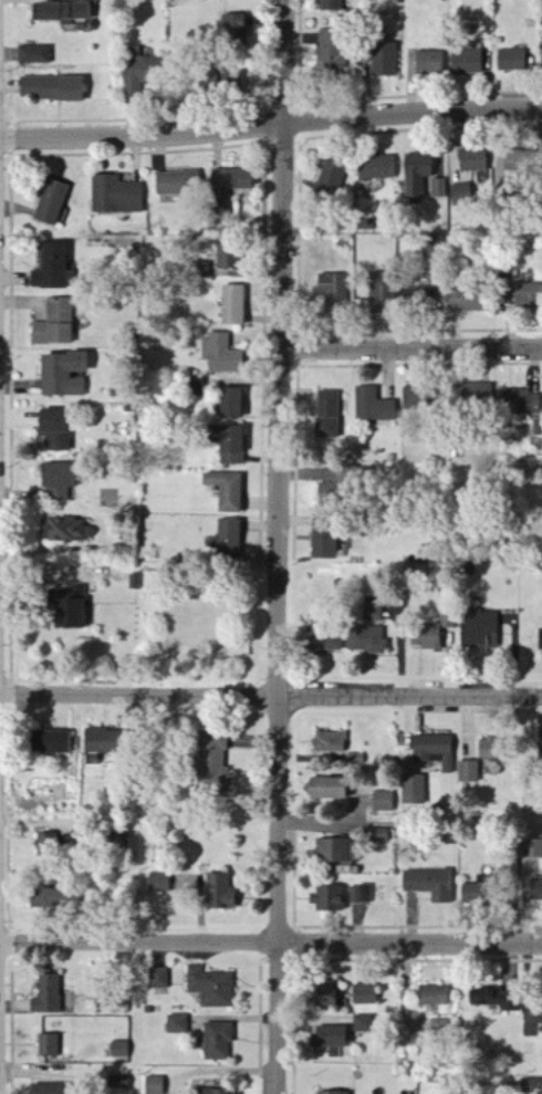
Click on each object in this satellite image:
building: (330, 6)
building: (63, 12)
building: (232, 29)
building: (330, 51)
building: (35, 55)
building: (383, 60)
building: (512, 61)
building: (466, 63)
building: (429, 64)
building: (138, 73)
building: (231, 81)
building: (206, 83)
building: (51, 90)
road: (271, 128)
building: (473, 160)
building: (519, 162)
building: (376, 169)
building: (417, 175)
building: (330, 180)
building: (177, 184)
building: (228, 185)
building: (438, 189)
building: (460, 194)
building: (116, 197)
building: (51, 202)
building: (226, 257)
building: (50, 268)
building: (533, 288)
building: (332, 289)
building: (379, 290)
building: (424, 296)
building: (470, 300)
building: (232, 304)
building: (54, 323)
road: (413, 351)
building: (221, 353)
building: (61, 374)
building: (478, 395)
building: (229, 402)
building: (520, 403)
building: (373, 405)
building: (326, 414)
building: (54, 428)
building: (229, 445)
building: (58, 481)
building: (225, 490)
building: (325, 492)
building: (66, 530)
building: (228, 540)
building: (323, 544)
road: (280, 546)
building: (66, 606)
building: (479, 631)
building: (427, 635)
building: (366, 639)
building: (540, 639)
building: (324, 640)
road: (270, 692)
building: (97, 741)
building: (52, 742)
building: (329, 742)
building: (486, 749)
building: (435, 751)
building: (212, 763)
building: (469, 772)
building: (324, 788)
building: (413, 791)
building: (383, 802)
building: (532, 848)
building: (332, 851)
building: (158, 883)
building: (428, 884)
building: (535, 888)
building: (219, 892)
building: (363, 894)
building: (469, 894)
building: (53, 897)
building: (327, 898)
road: (271, 940)
building: (158, 978)
building: (210, 987)
building: (324, 993)
building: (364, 994)
building: (46, 996)
building: (432, 996)
building: (491, 998)
building: (539, 1008)
building: (177, 1024)
building: (363, 1024)
building: (217, 1041)
building: (44, 1045)
building: (118, 1050)
building: (154, 1085)
building: (45, 1088)
building: (217, 1092)
building: (330, 1093)

